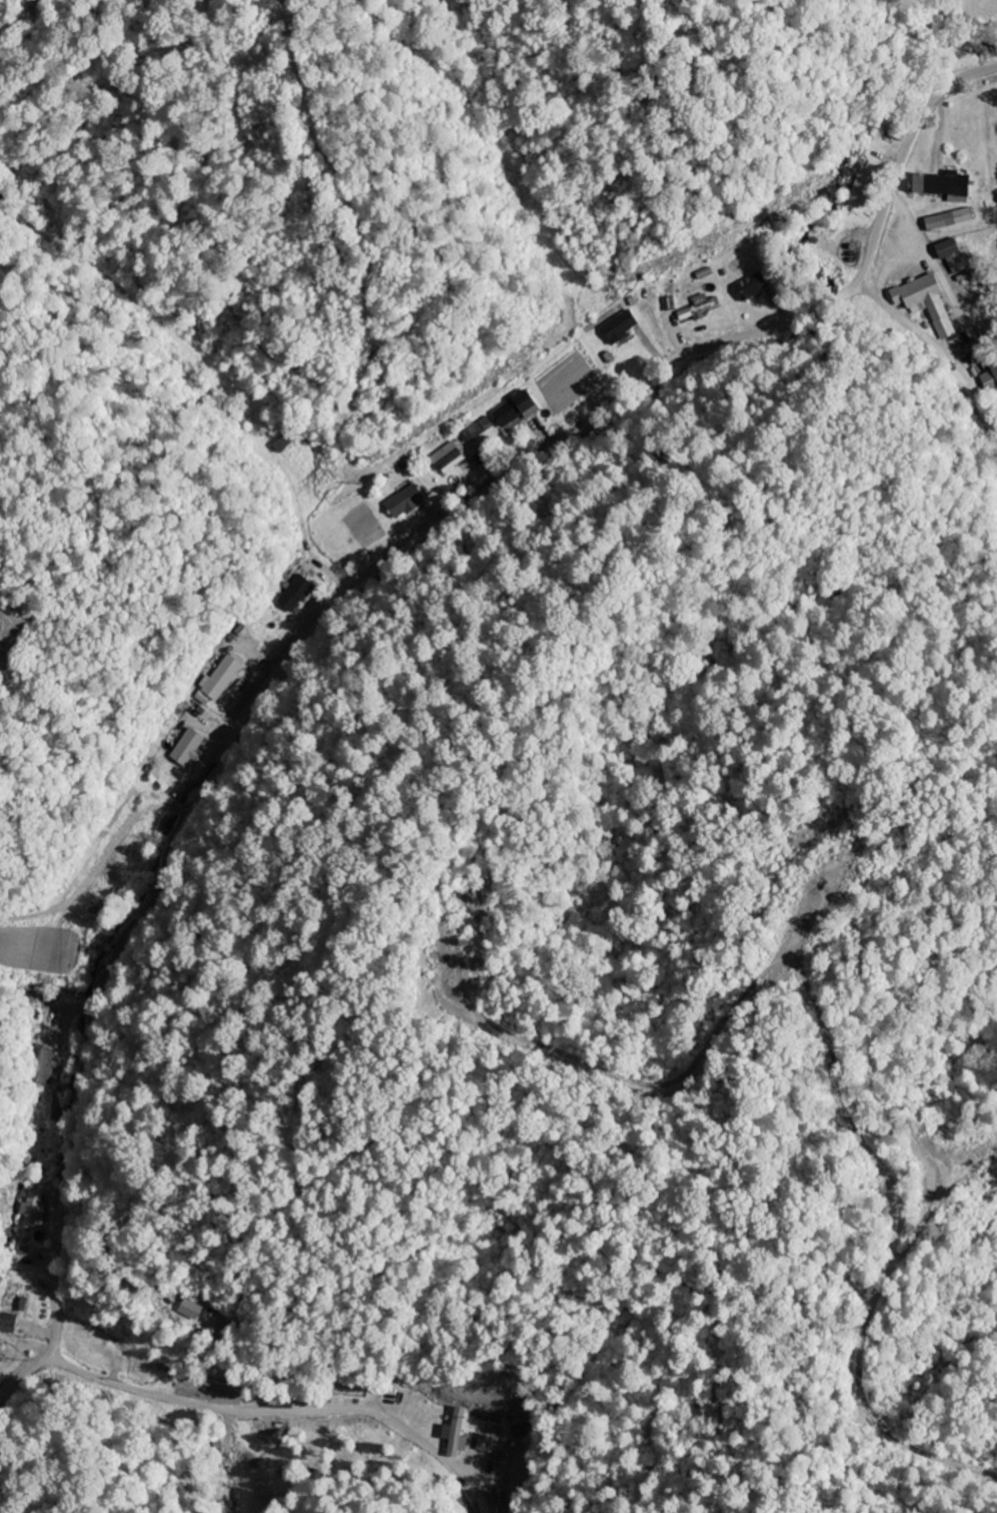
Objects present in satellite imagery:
building: (938, 185)
building: (861, 187)
building: (947, 220)
building: (952, 257)
building: (750, 287)
building: (924, 303)
building: (697, 309)
building: (619, 327)
road: (935, 352)
building: (994, 375)
building: (513, 411)
building: (479, 429)
building: (446, 459)
building: (402, 503)
building: (293, 596)
road: (332, 596)
building: (218, 680)
building: (186, 750)
building: (43, 1068)
building: (33, 1215)
building: (11, 1298)
building: (188, 1310)
building: (7, 1323)
building: (454, 1434)
building: (485, 1504)

